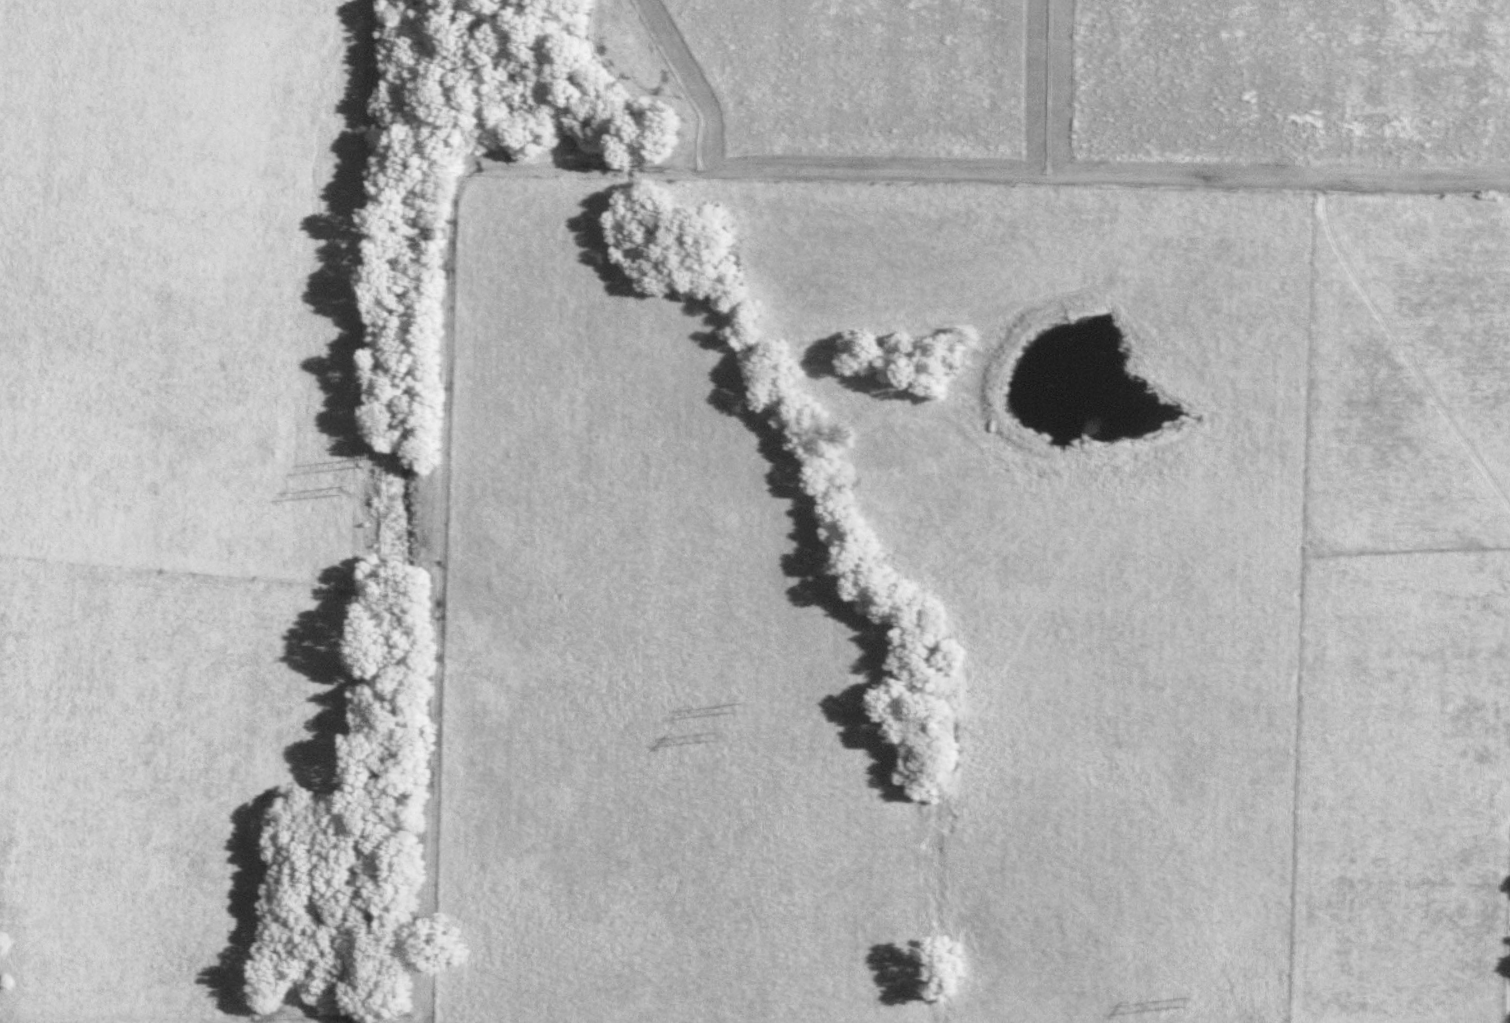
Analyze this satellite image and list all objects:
power tower: (356, 466)
power tower: (336, 492)
power tower: (731, 707)
power tower: (712, 735)
power tower: (1180, 1001)

